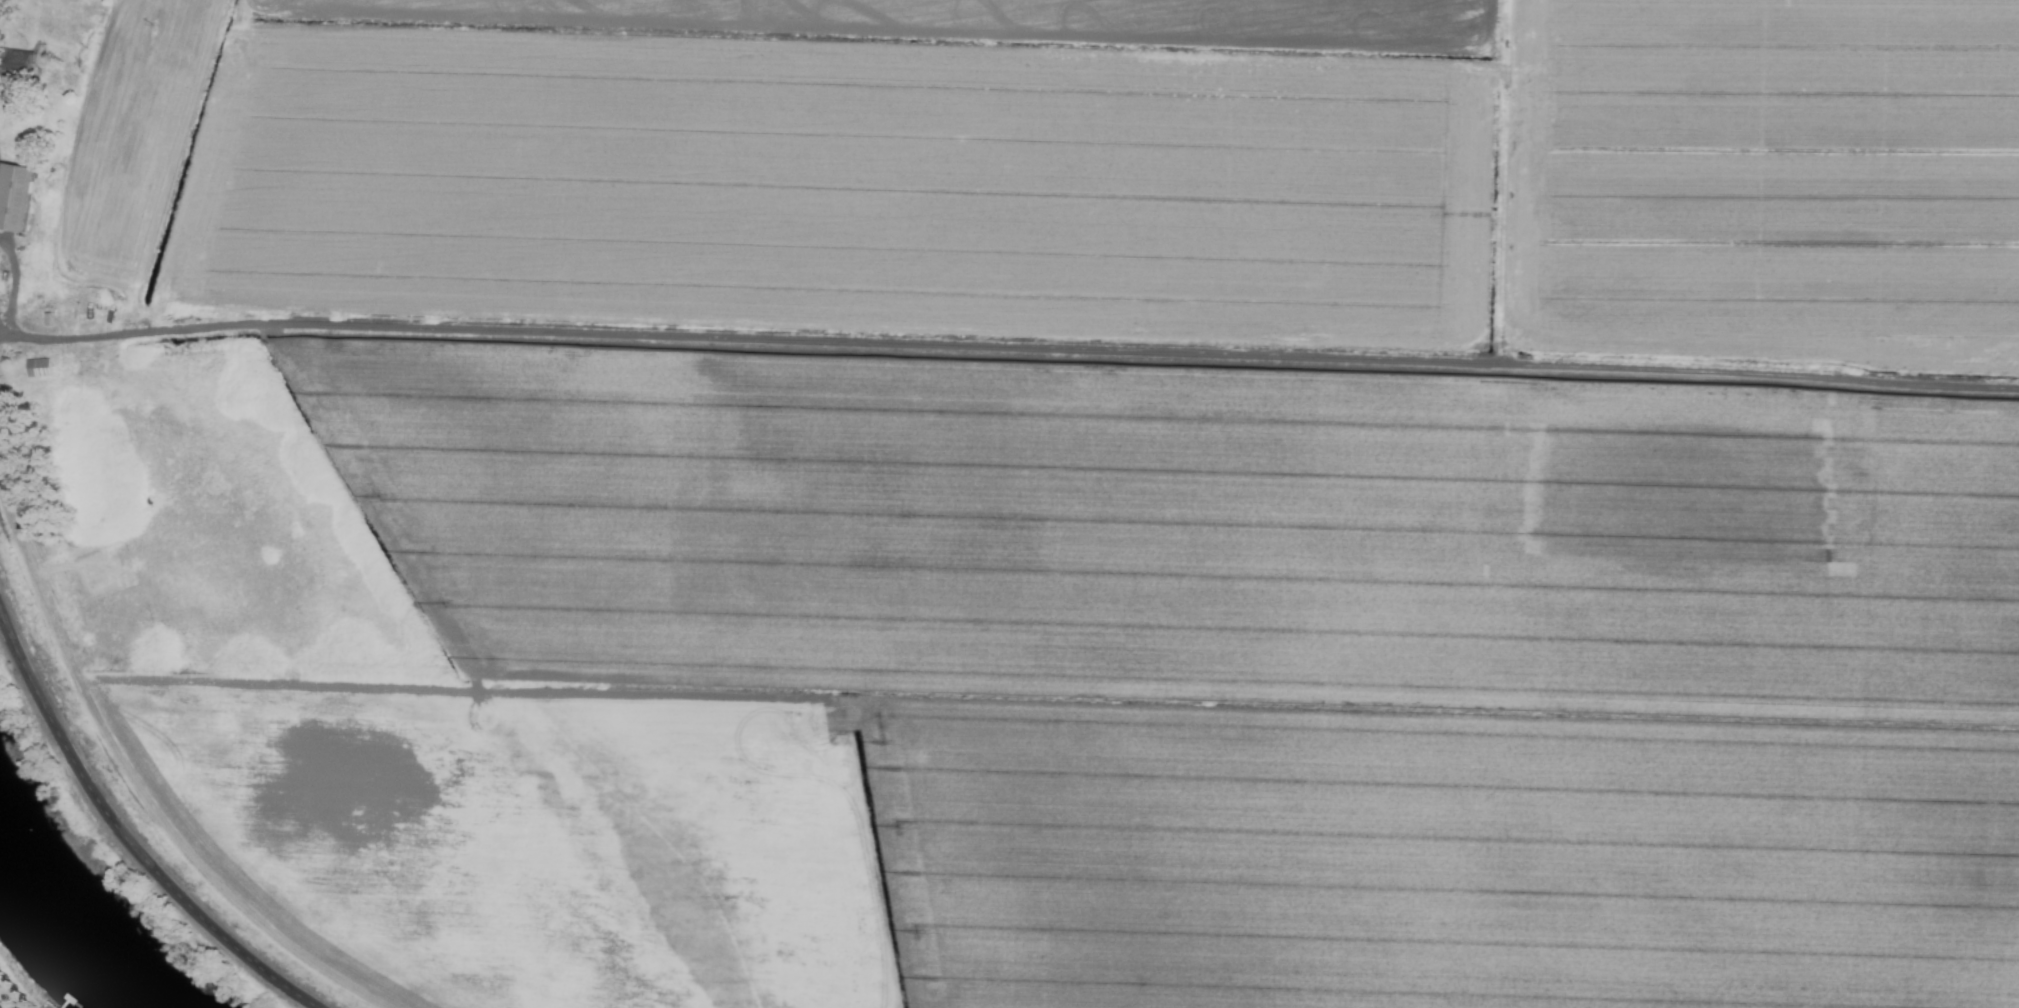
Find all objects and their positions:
building: (13, 197)
road: (1007, 347)
crop: (1038, 492)
road: (126, 834)
building: (43, 1005)

